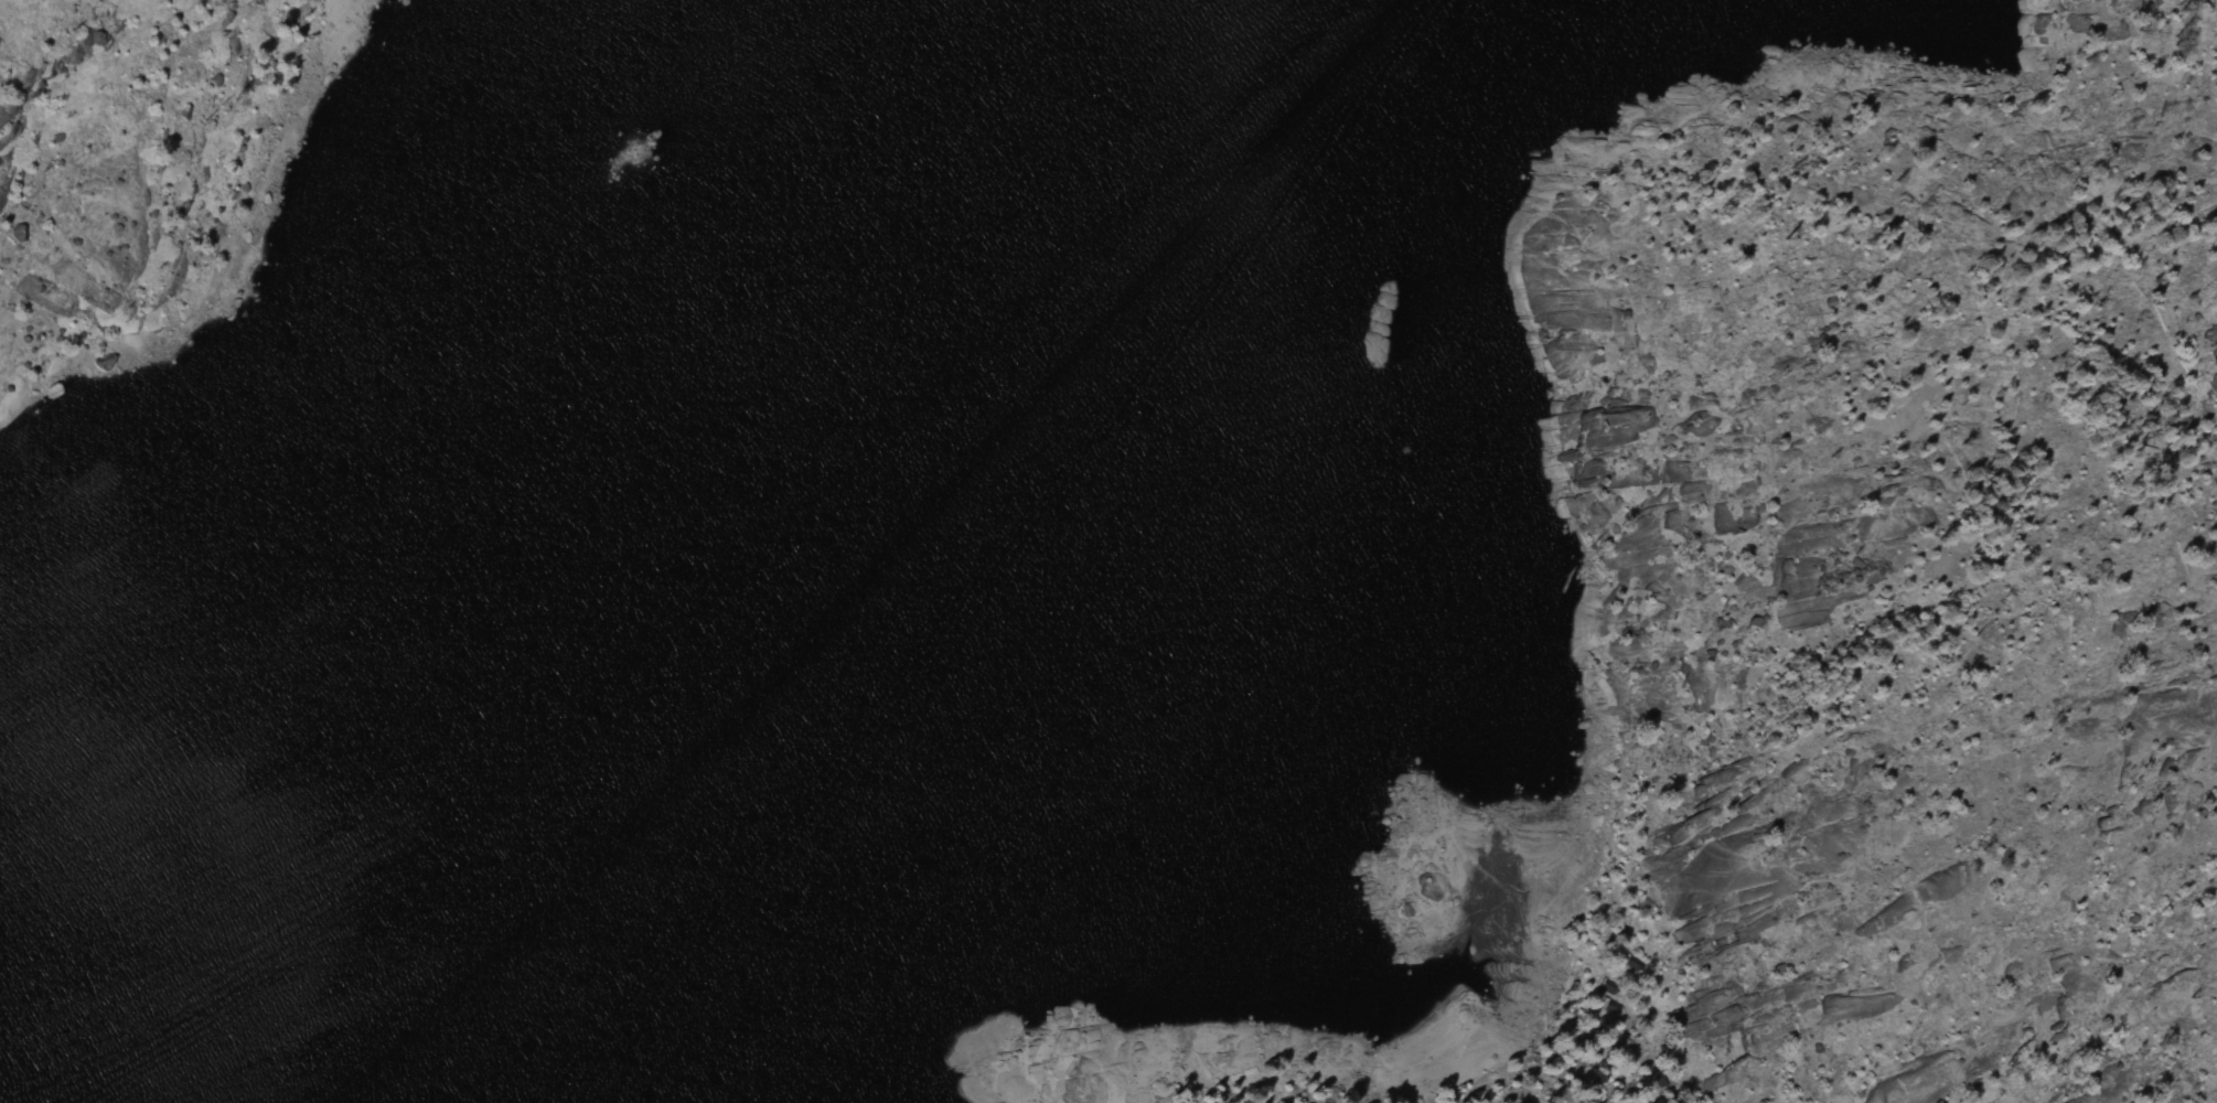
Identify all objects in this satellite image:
pier: (1439, 1046)
pier: (1391, 1077)
flagpole: (1083, 1091)
flagpole: (1084, 1097)
flagpole: (1084, 1102)

